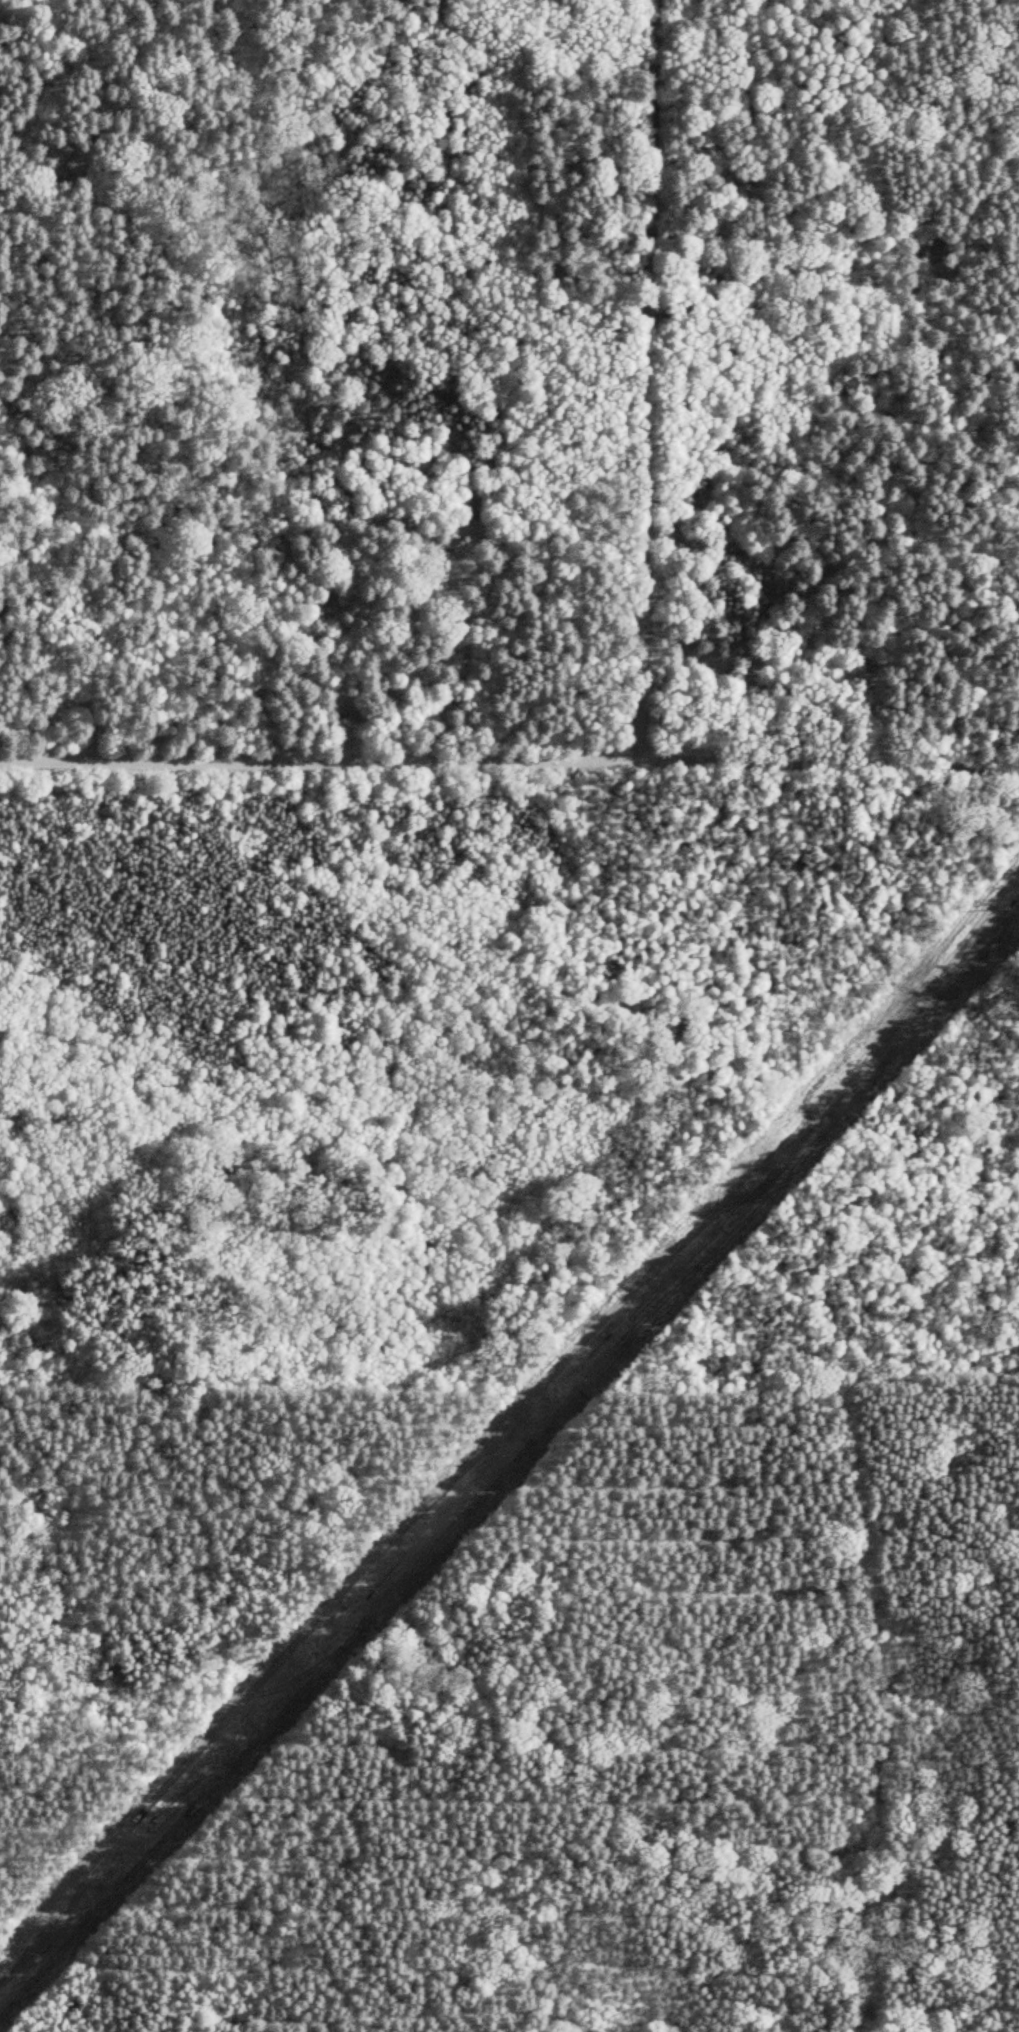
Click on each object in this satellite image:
road: (646, 379)
road: (509, 759)
park: (509, 1016)

